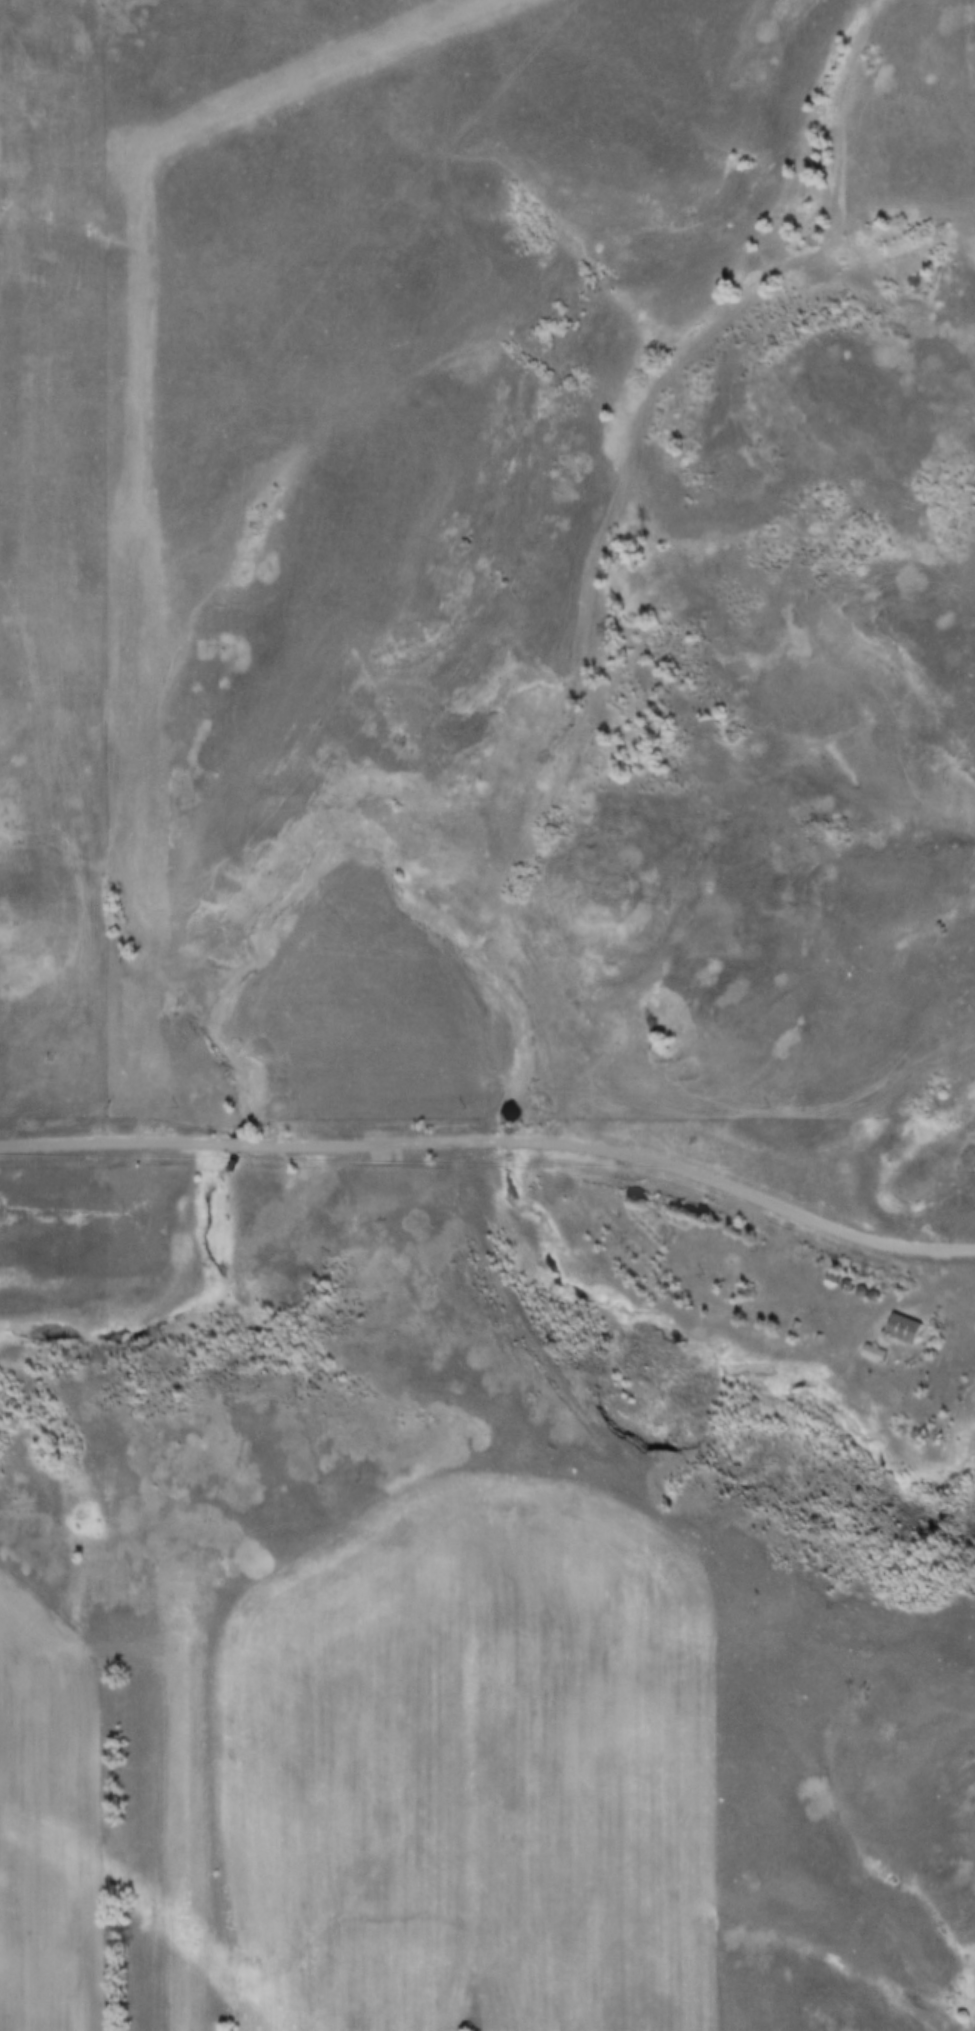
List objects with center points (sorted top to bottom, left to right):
road: (496, 1146)
road: (835, 1314)
building: (908, 1329)
building: (877, 1353)

